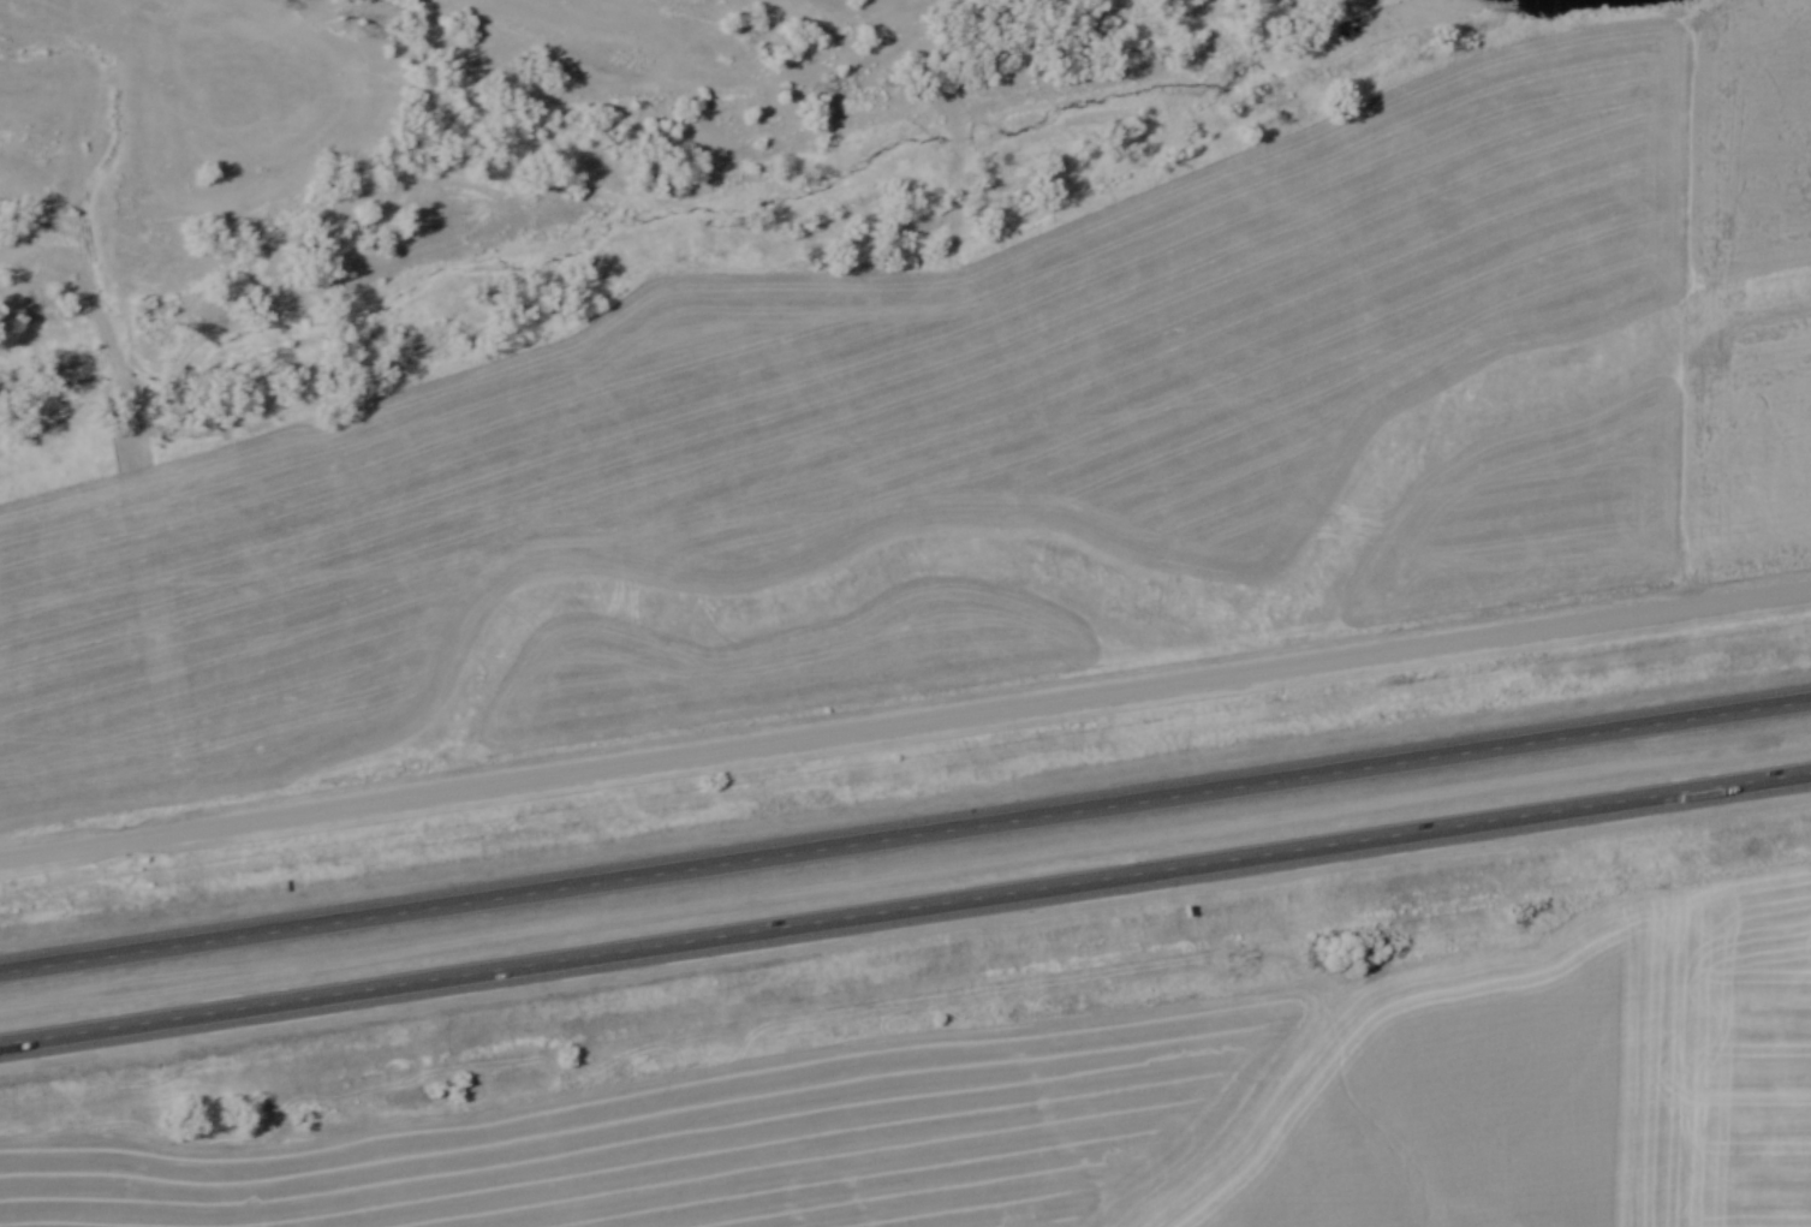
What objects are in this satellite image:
road: (905, 722)
road: (905, 833)
road: (905, 909)

